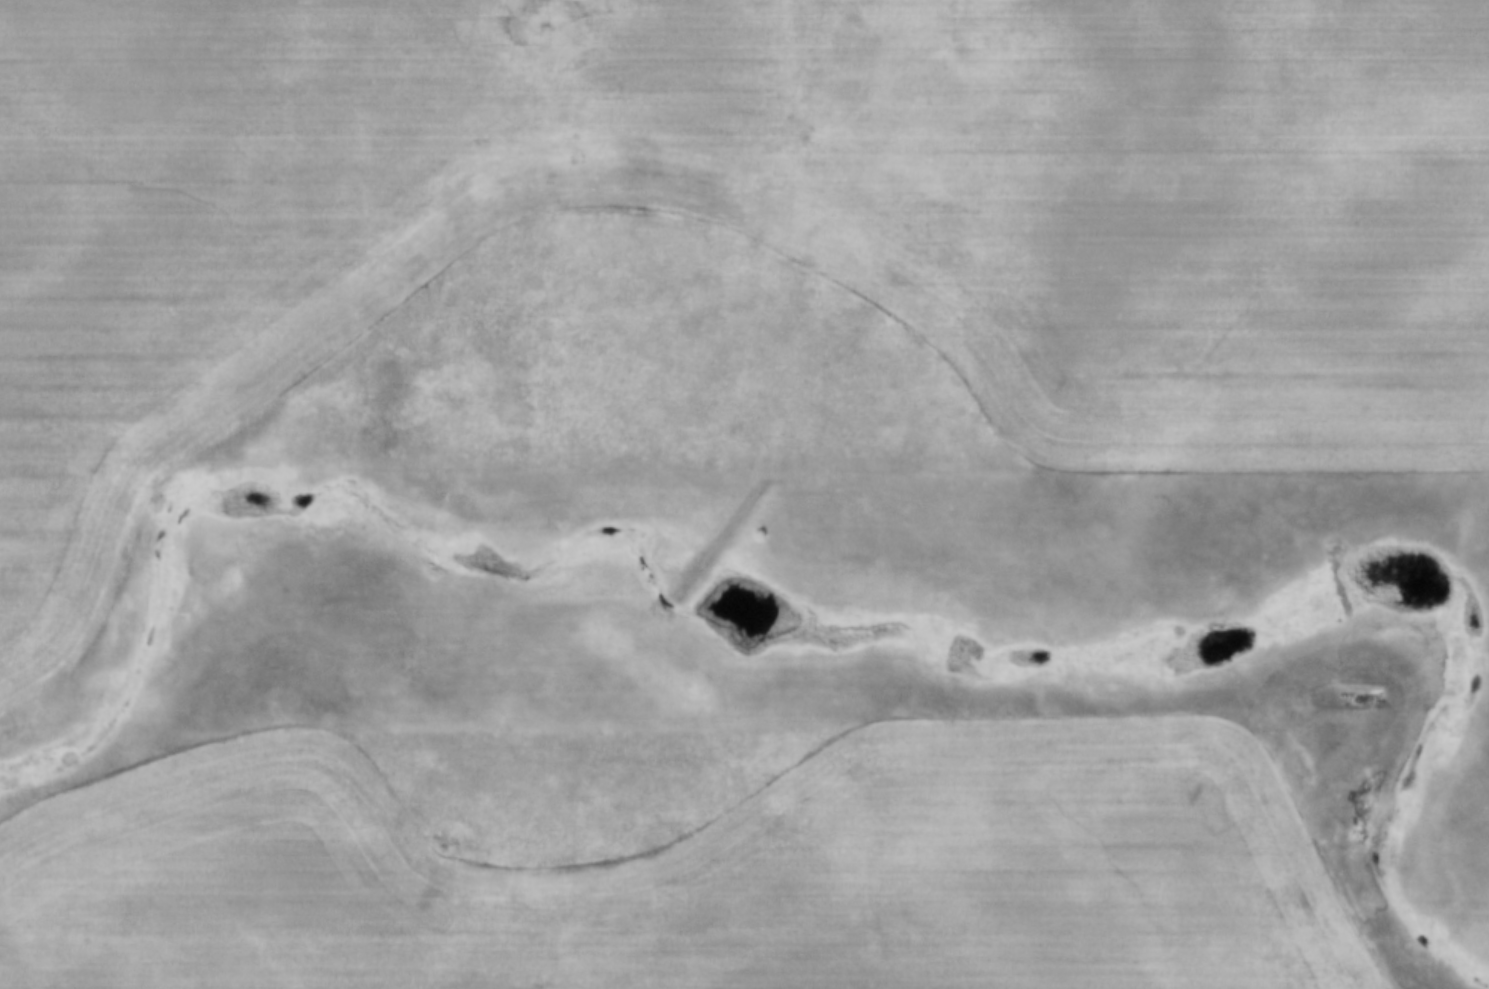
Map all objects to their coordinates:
road: (1337, 868)

